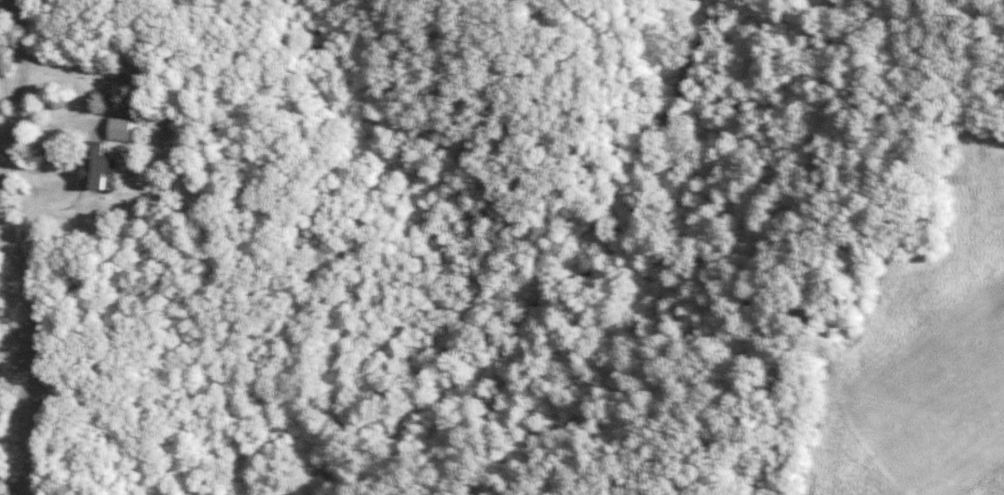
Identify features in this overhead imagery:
road: (18, 156)
building: (93, 165)

